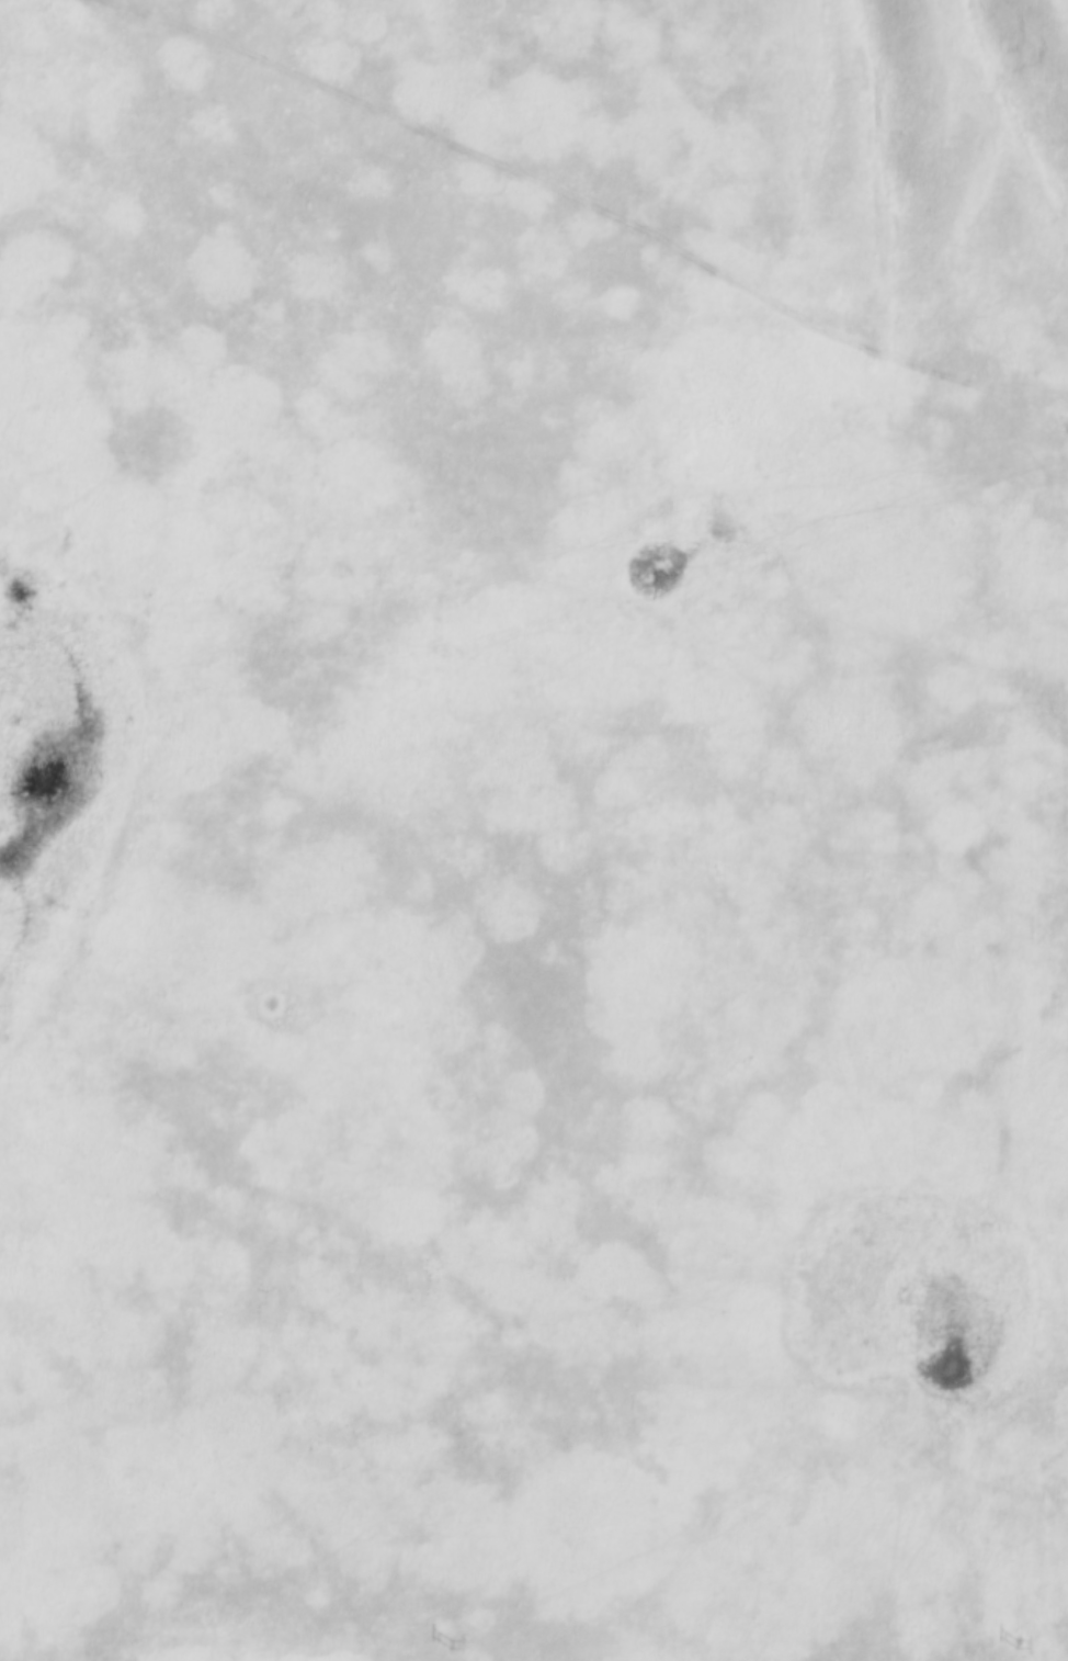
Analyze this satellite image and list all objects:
power tower: (1014, 1646)
power tower: (448, 1649)

